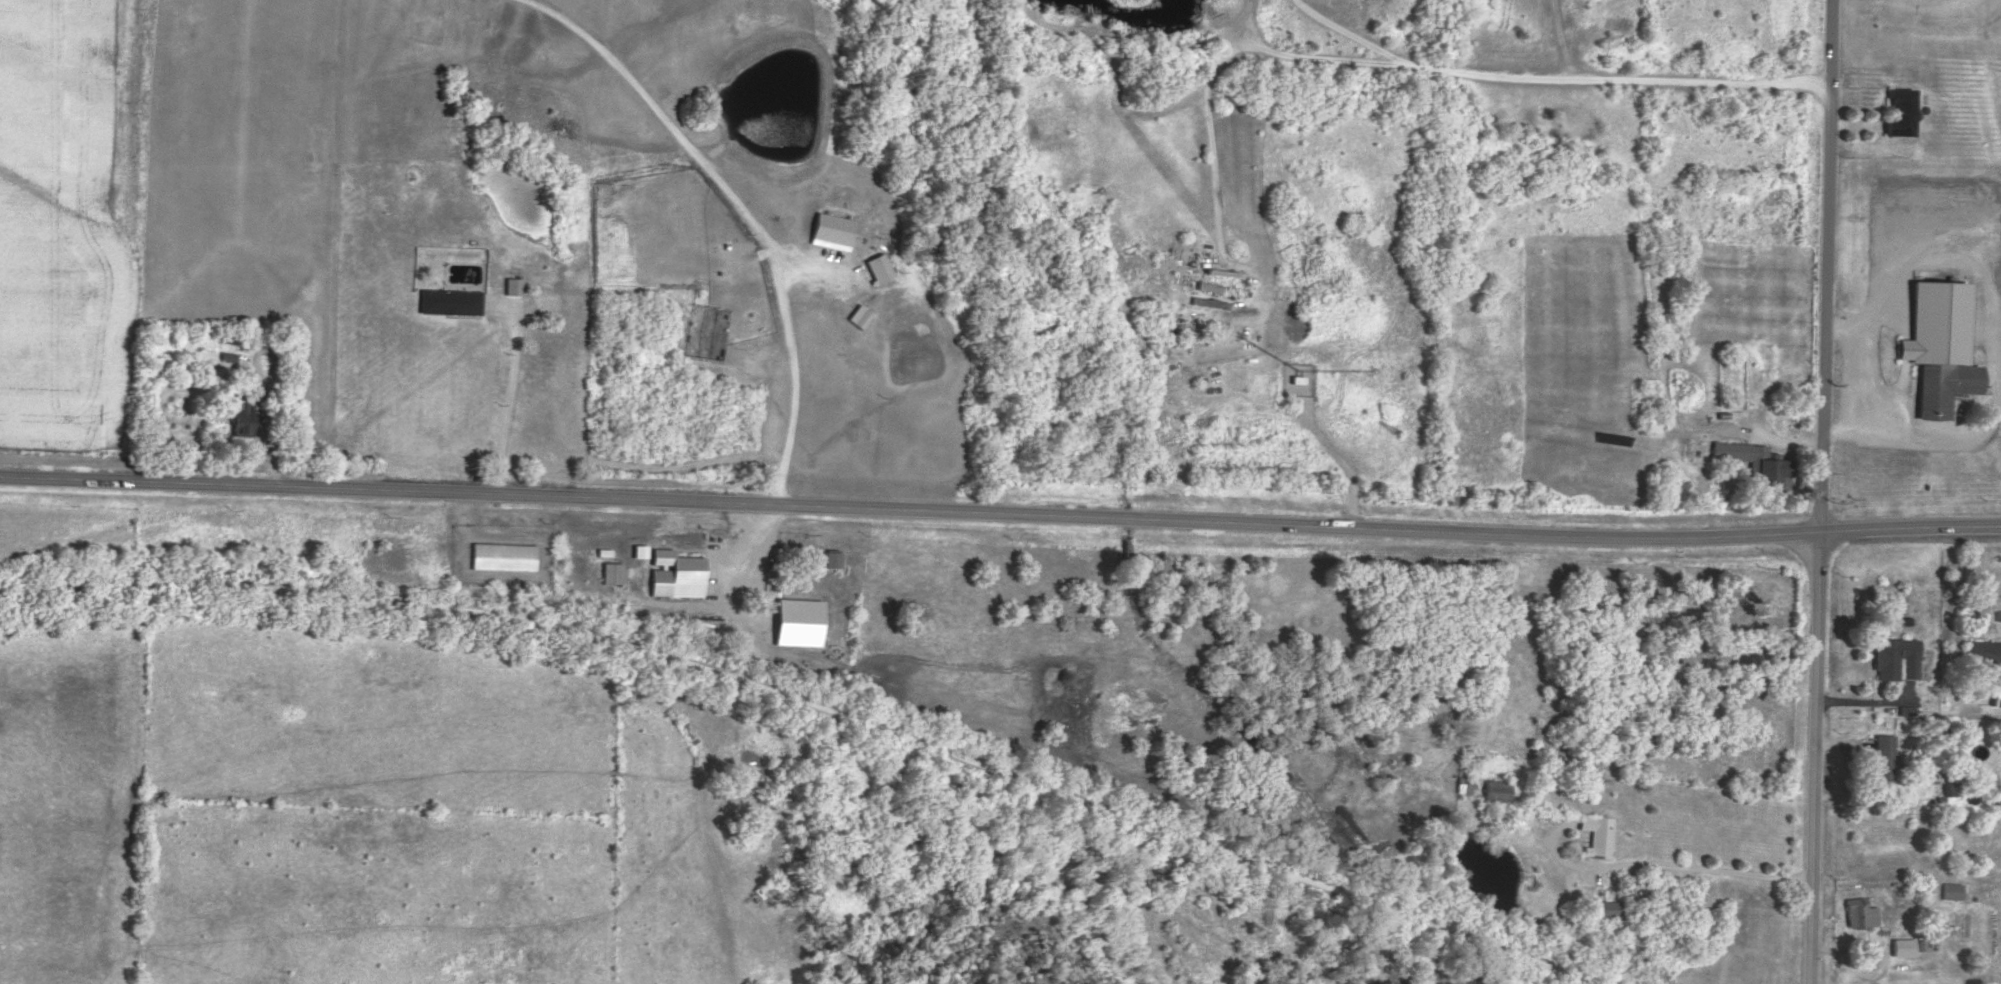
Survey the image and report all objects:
road: (1424, 69)
building: (1900, 110)
road: (746, 212)
building: (831, 229)
road: (1823, 265)
building: (879, 266)
building: (1223, 271)
building: (512, 284)
building: (1209, 285)
building: (449, 300)
building: (860, 314)
road: (1990, 333)
building: (1940, 344)
road: (507, 407)
building: (242, 418)
road: (1318, 444)
building: (1754, 462)
road: (1349, 506)
road: (1000, 513)
building: (640, 549)
building: (503, 555)
building: (832, 558)
building: (612, 571)
building: (675, 572)
building: (797, 621)
road: (753, 641)
building: (1984, 650)
building: (1895, 657)
road: (1903, 682)
building: (1996, 696)
road: (1865, 702)
road: (814, 705)
building: (1906, 709)
road: (1813, 757)
building: (1883, 758)
building: (1950, 784)
building: (1464, 785)
building: (1496, 790)
building: (1598, 834)
road: (1666, 867)
building: (1952, 890)
building: (1605, 910)
building: (1860, 912)
building: (1903, 946)

